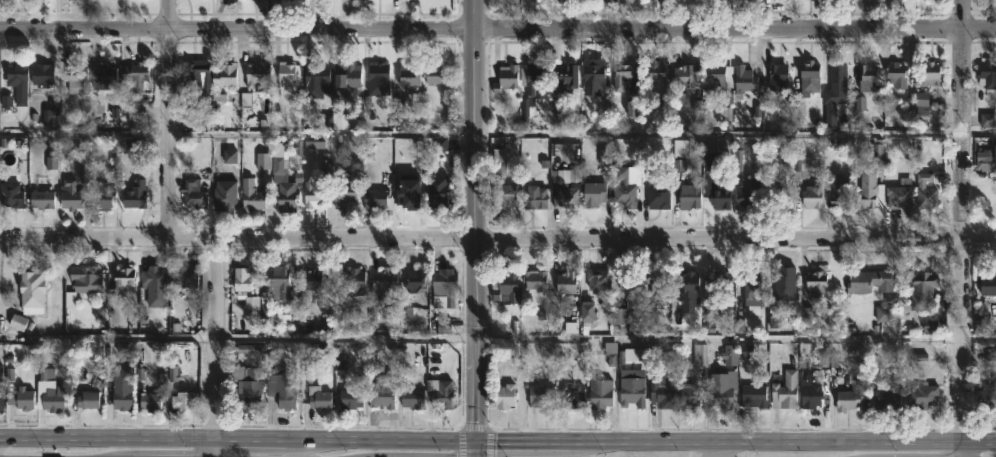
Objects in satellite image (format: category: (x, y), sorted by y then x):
building: (753, 0)
road: (497, 25)
building: (17, 72)
building: (194, 73)
building: (378, 73)
building: (653, 73)
building: (42, 74)
building: (257, 74)
building: (898, 74)
building: (409, 75)
building: (437, 75)
building: (930, 75)
building: (987, 75)
building: (225, 76)
building: (593, 76)
building: (869, 76)
building: (73, 77)
building: (103, 77)
building: (132, 77)
building: (286, 77)
building: (622, 77)
building: (346, 78)
building: (810, 78)
building: (315, 79)
building: (505, 79)
building: (683, 79)
building: (716, 79)
building: (777, 79)
building: (744, 80)
building: (566, 81)
building: (531, 86)
building: (833, 92)
building: (860, 104)
building: (922, 105)
building: (633, 108)
building: (50, 113)
road: (961, 118)
building: (725, 119)
road: (166, 120)
building: (987, 120)
building: (340, 121)
road: (978, 130)
road: (83, 131)
building: (680, 148)
building: (604, 158)
building: (986, 159)
building: (262, 161)
building: (51, 163)
building: (800, 166)
building: (283, 181)
building: (501, 182)
building: (564, 189)
building: (623, 189)
building: (838, 190)
building: (867, 190)
building: (344, 193)
building: (409, 193)
building: (437, 193)
building: (926, 193)
building: (749, 194)
building: (69, 195)
building: (193, 195)
building: (312, 195)
building: (593, 195)
building: (718, 195)
building: (11, 196)
building: (134, 196)
building: (251, 196)
building: (224, 197)
building: (690, 197)
building: (812, 197)
building: (899, 197)
building: (101, 198)
building: (658, 198)
building: (41, 199)
building: (375, 199)
building: (534, 199)
road: (472, 221)
road: (978, 238)
road: (480, 239)
building: (182, 276)
building: (84, 279)
building: (242, 279)
building: (122, 280)
building: (311, 281)
building: (535, 281)
building: (722, 281)
building: (352, 282)
building: (414, 282)
building: (597, 282)
building: (870, 282)
building: (277, 283)
building: (784, 283)
building: (656, 284)
building: (817, 284)
building: (988, 284)
building: (155, 286)
building: (445, 286)
building: (386, 287)
building: (566, 287)
building: (504, 288)
building: (32, 291)
building: (689, 291)
building: (754, 291)
building: (923, 291)
building: (70, 300)
building: (627, 300)
building: (99, 314)
building: (587, 314)
building: (883, 314)
building: (981, 317)
building: (300, 321)
building: (17, 322)
building: (930, 324)
building: (570, 327)
road: (237, 338)
road: (718, 338)
road: (979, 338)
road: (216, 347)
road: (962, 347)
building: (746, 351)
building: (629, 355)
building: (729, 355)
building: (700, 356)
building: (0, 375)
building: (662, 378)
building: (246, 387)
building: (723, 387)
building: (632, 388)
building: (281, 389)
building: (785, 392)
building: (381, 393)
building: (810, 393)
building: (600, 394)
building: (442, 396)
building: (689, 396)
building: (753, 396)
building: (923, 396)
building: (1, 397)
building: (504, 397)
building: (541, 397)
building: (572, 397)
building: (987, 397)
building: (318, 398)
building: (20, 399)
building: (53, 399)
building: (349, 399)
building: (413, 399)
building: (87, 400)
building: (121, 400)
building: (887, 400)
building: (182, 401)
building: (848, 401)
building: (150, 402)
traffic signals: (476, 442)
road: (498, 442)
road: (476, 449)
road: (717, 451)

